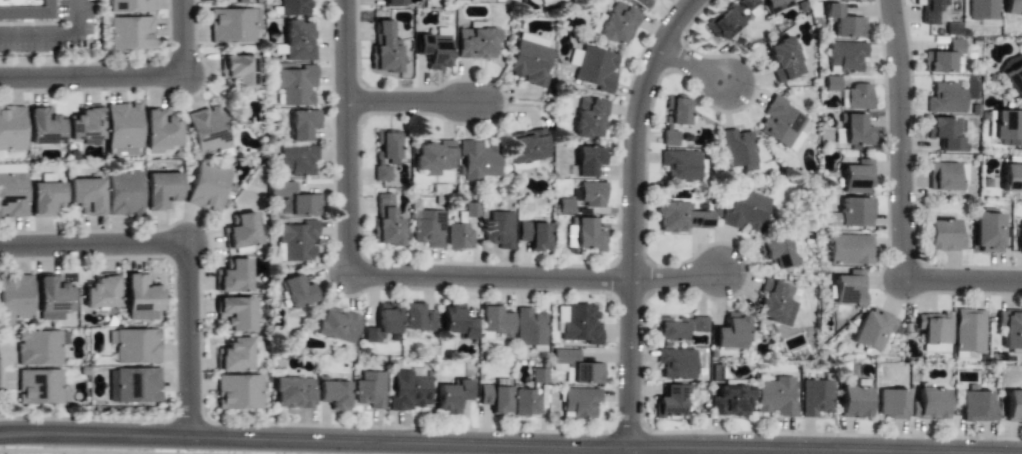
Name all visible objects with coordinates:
building: (233, 0)
building: (393, 3)
building: (644, 3)
building: (130, 5)
building: (777, 5)
building: (294, 7)
building: (1012, 7)
building: (25, 9)
building: (982, 9)
building: (930, 10)
building: (728, 19)
building: (843, 22)
building: (231, 25)
building: (130, 33)
road: (54, 34)
road: (181, 39)
building: (297, 41)
building: (476, 41)
building: (384, 48)
building: (434, 49)
building: (845, 56)
building: (942, 57)
building: (530, 59)
building: (783, 59)
road: (691, 65)
building: (596, 68)
building: (238, 69)
road: (91, 79)
building: (1014, 79)
building: (296, 85)
building: (857, 96)
building: (945, 98)
road: (411, 104)
building: (674, 117)
building: (589, 118)
building: (781, 123)
building: (302, 124)
building: (86, 125)
building: (123, 125)
building: (44, 126)
building: (1008, 127)
building: (11, 128)
building: (160, 128)
building: (207, 130)
building: (854, 130)
building: (943, 132)
road: (343, 138)
road: (897, 140)
building: (738, 149)
building: (385, 154)
building: (433, 157)
building: (297, 159)
building: (477, 160)
building: (589, 160)
building: (679, 165)
building: (11, 168)
building: (945, 175)
building: (857, 177)
building: (1012, 177)
building: (207, 187)
building: (161, 190)
building: (123, 193)
building: (591, 193)
building: (12, 194)
building: (86, 195)
building: (44, 197)
building: (295, 199)
building: (745, 211)
building: (853, 212)
road: (629, 217)
building: (680, 217)
building: (386, 222)
building: (427, 227)
building: (497, 228)
building: (241, 231)
building: (986, 231)
building: (588, 234)
building: (534, 235)
building: (943, 235)
building: (458, 236)
building: (1020, 237)
building: (298, 240)
road: (93, 248)
building: (849, 249)
building: (776, 251)
building: (233, 276)
road: (487, 280)
road: (672, 280)
road: (961, 283)
building: (849, 287)
building: (298, 291)
building: (100, 292)
building: (52, 297)
building: (141, 297)
building: (15, 299)
building: (775, 302)
building: (235, 313)
building: (416, 318)
building: (457, 321)
building: (494, 322)
building: (383, 323)
building: (578, 323)
building: (336, 325)
building: (529, 327)
building: (678, 327)
building: (872, 328)
building: (1010, 329)
building: (968, 330)
building: (934, 331)
building: (731, 332)
road: (187, 343)
building: (135, 345)
building: (39, 347)
building: (234, 355)
building: (676, 363)
building: (576, 367)
building: (133, 385)
building: (40, 387)
building: (370, 389)
building: (408, 391)
building: (238, 392)
building: (293, 392)
building: (334, 394)
building: (495, 395)
building: (452, 396)
building: (776, 396)
building: (815, 398)
building: (730, 400)
building: (670, 401)
building: (853, 401)
building: (525, 402)
building: (579, 402)
building: (891, 404)
building: (928, 404)
building: (977, 406)
building: (1013, 407)
road: (435, 445)

